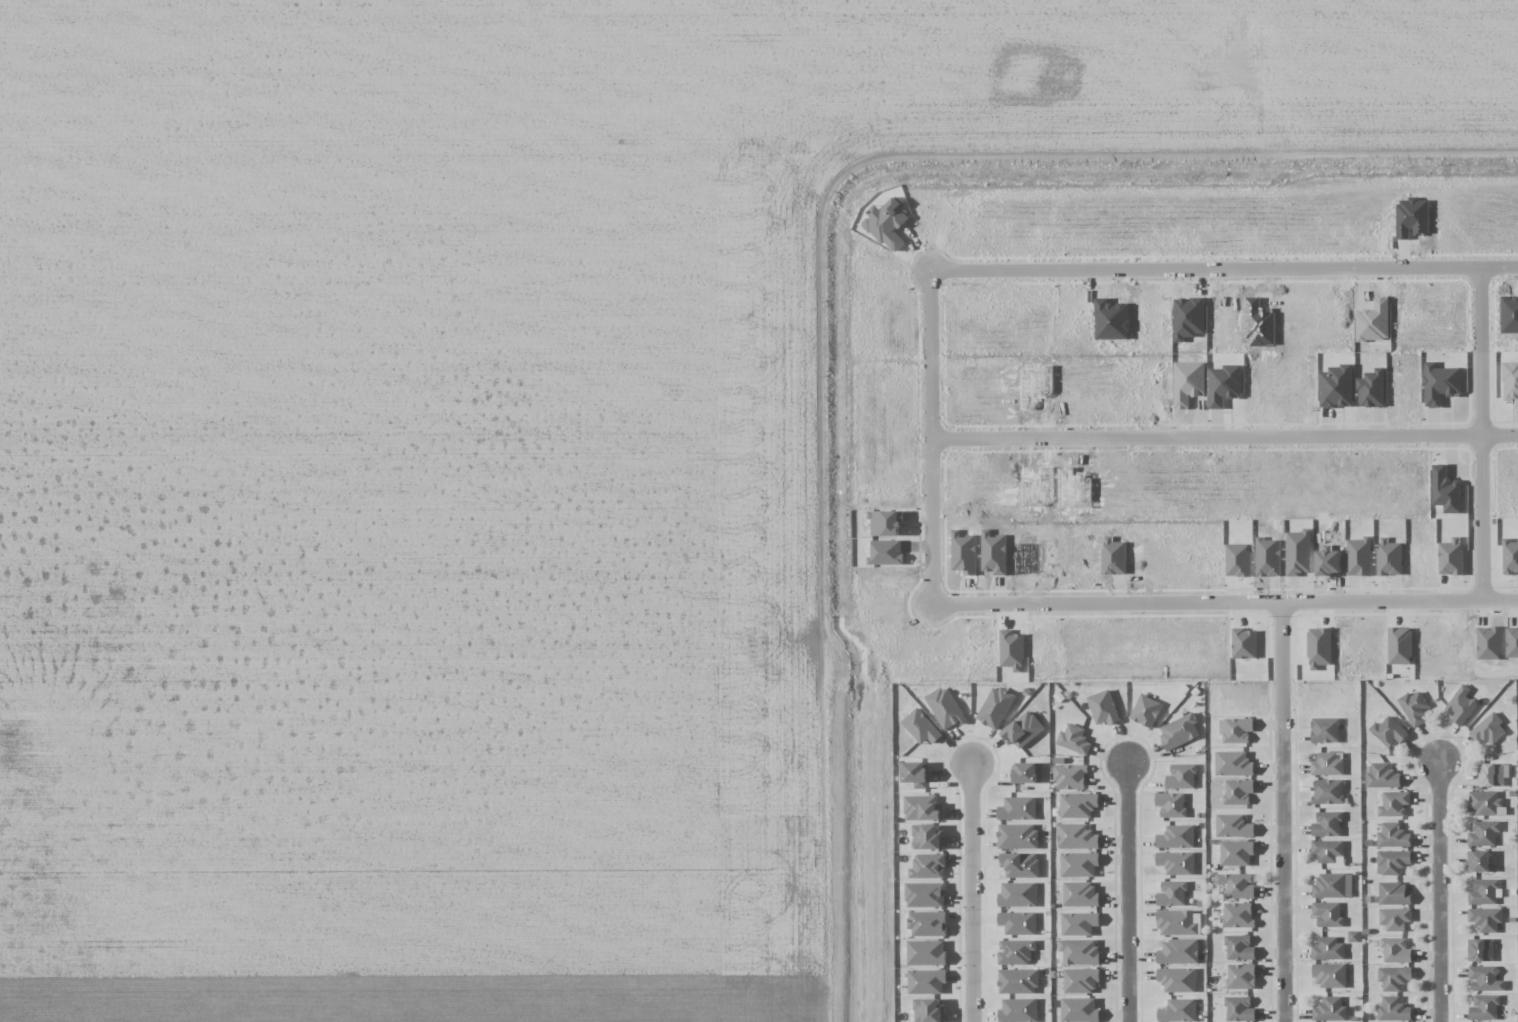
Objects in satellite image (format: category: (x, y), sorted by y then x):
building: (1371, 389)
road: (1492, 435)
road: (938, 437)
road: (1228, 438)
building: (1445, 490)
building: (1460, 705)
building: (995, 707)
building: (944, 708)
building: (1103, 708)
building: (1414, 708)
building: (1145, 711)
building: (921, 727)
building: (1023, 730)
building: (1235, 730)
building: (1325, 730)
building: (1487, 730)
building: (1178, 731)
building: (1388, 731)
building: (1073, 739)
building: (1233, 763)
building: (1327, 764)
building: (1027, 772)
building: (917, 774)
building: (1492, 774)
building: (1069, 775)
building: (1181, 776)
building: (1381, 776)
building: (1238, 791)
building: (1327, 791)
building: (1485, 803)
building: (1171, 804)
building: (1394, 804)
building: (1077, 805)
building: (922, 808)
building: (1017, 809)
road: (1293, 813)
building: (1327, 824)
building: (1233, 826)
building: (1483, 833)
building: (1393, 835)
building: (1017, 836)
building: (926, 837)
building: (1076, 837)
building: (1176, 837)
building: (1327, 850)
building: (1236, 853)
building: (1392, 861)
building: (1479, 861)
building: (1176, 863)
building: (1078, 864)
building: (1021, 865)
building: (928, 866)
building: (1236, 885)
building: (1332, 886)
road: (1126, 889)
road: (1439, 889)
building: (1484, 892)
building: (1393, 893)
road: (974, 894)
building: (1018, 894)
building: (1080, 894)
building: (1172, 894)
building: (925, 895)
building: (1327, 914)
building: (1237, 915)
building: (1394, 918)
building: (1485, 919)
building: (1176, 922)
building: (1018, 923)
building: (1078, 923)
building: (927, 924)
building: (1239, 948)
building: (1328, 949)
building: (1482, 949)
building: (1395, 950)
building: (1015, 951)
building: (1079, 951)
building: (1178, 952)
building: (926, 953)
building: (1329, 975)
building: (1240, 976)
building: (1393, 977)
building: (1485, 978)
building: (1177, 979)
building: (1080, 980)
building: (926, 981)
building: (1018, 981)
building: (1484, 1007)
building: (1239, 1009)
building: (1329, 1009)
building: (1393, 1009)
building: (928, 1010)
building: (1018, 1010)
building: (1079, 1010)
building: (1177, 1011)

